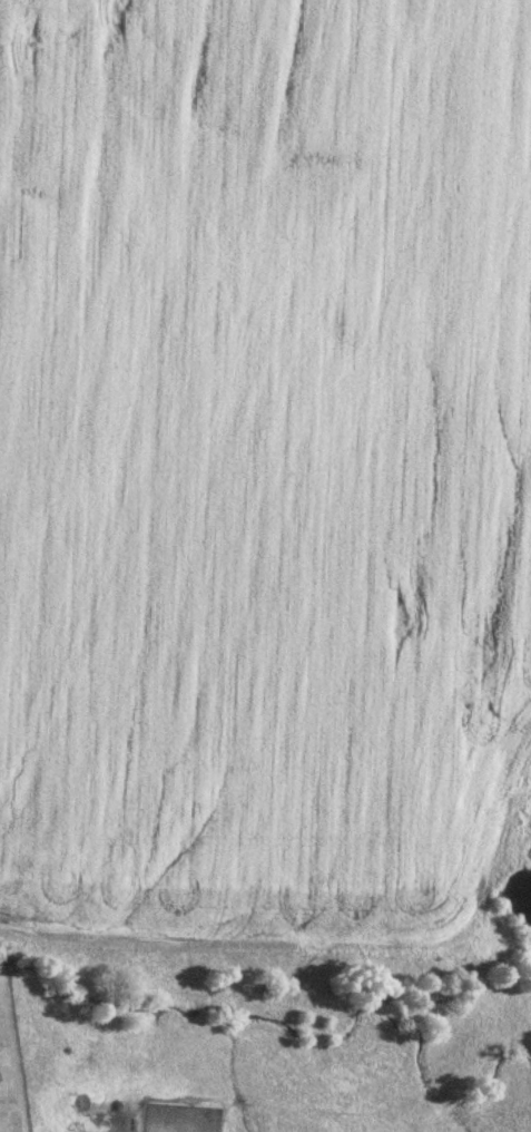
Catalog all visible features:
road: (3, 1124)

